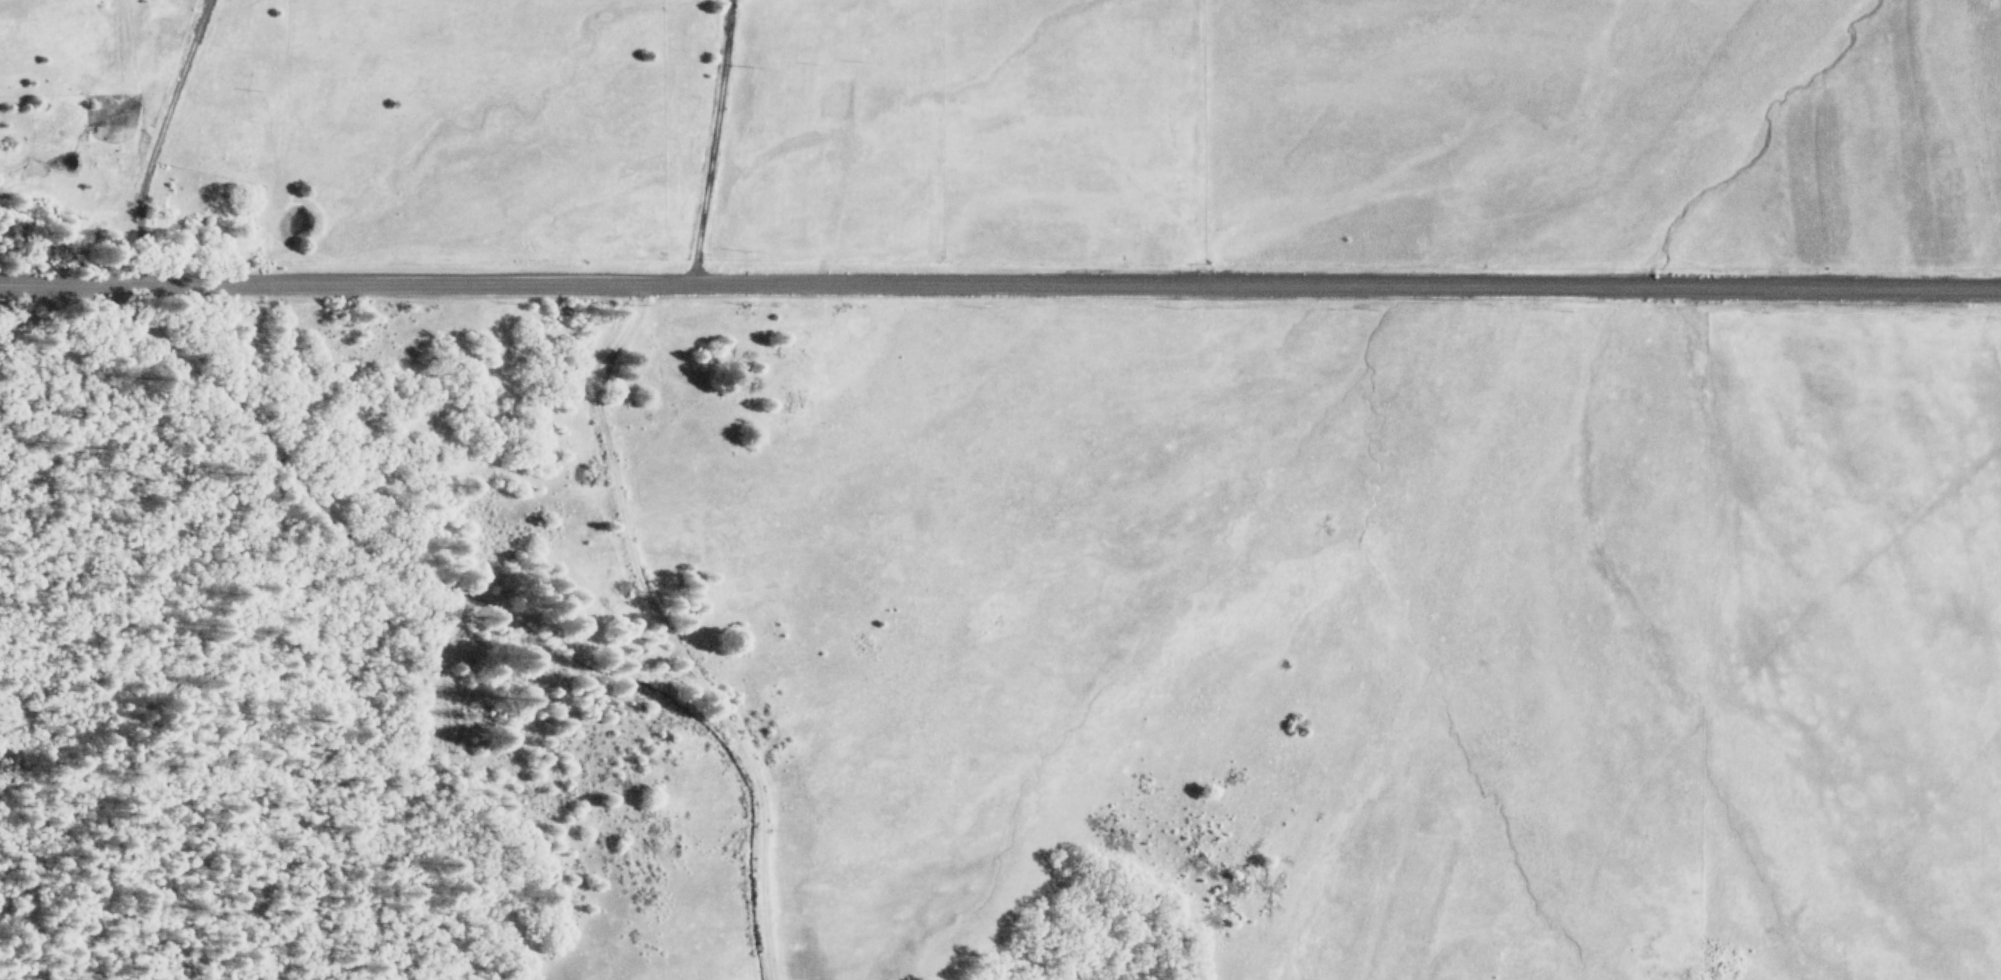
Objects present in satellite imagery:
road: (148, 138)
road: (707, 143)
road: (1000, 283)

